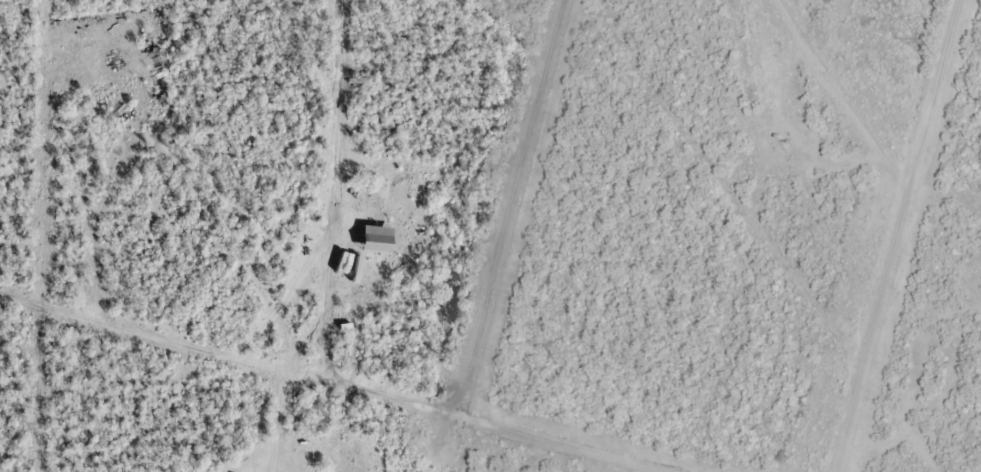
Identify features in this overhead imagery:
building: (375, 235)
road: (923, 257)

